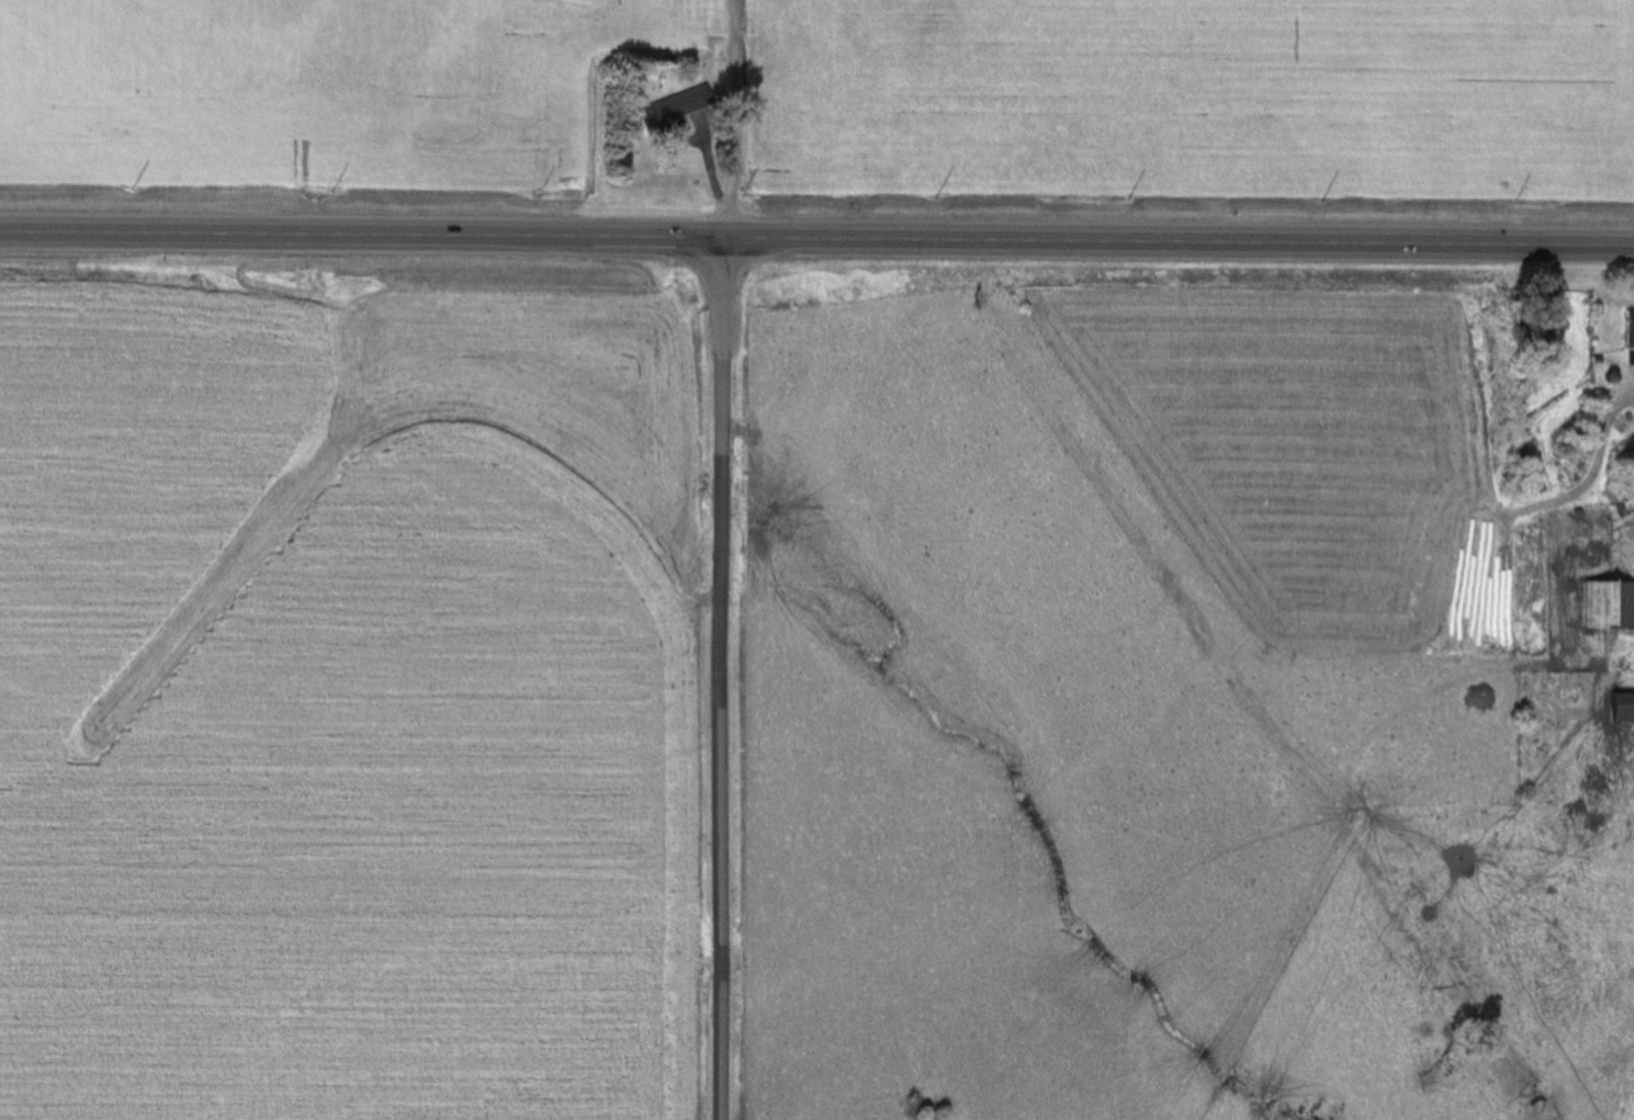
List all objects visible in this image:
building: (670, 113)
road: (721, 120)
road: (816, 240)
building: (1627, 328)
building: (1605, 606)
road: (714, 679)
building: (1618, 709)

